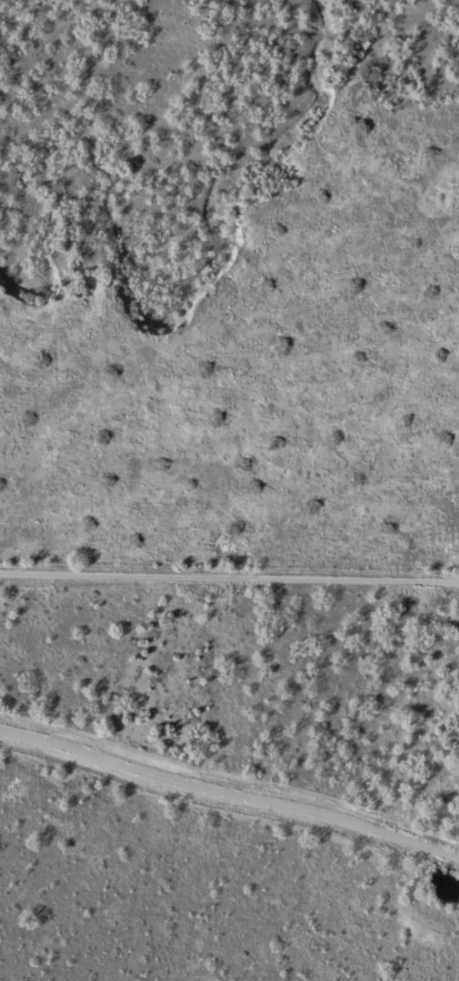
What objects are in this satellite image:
road: (227, 827)

